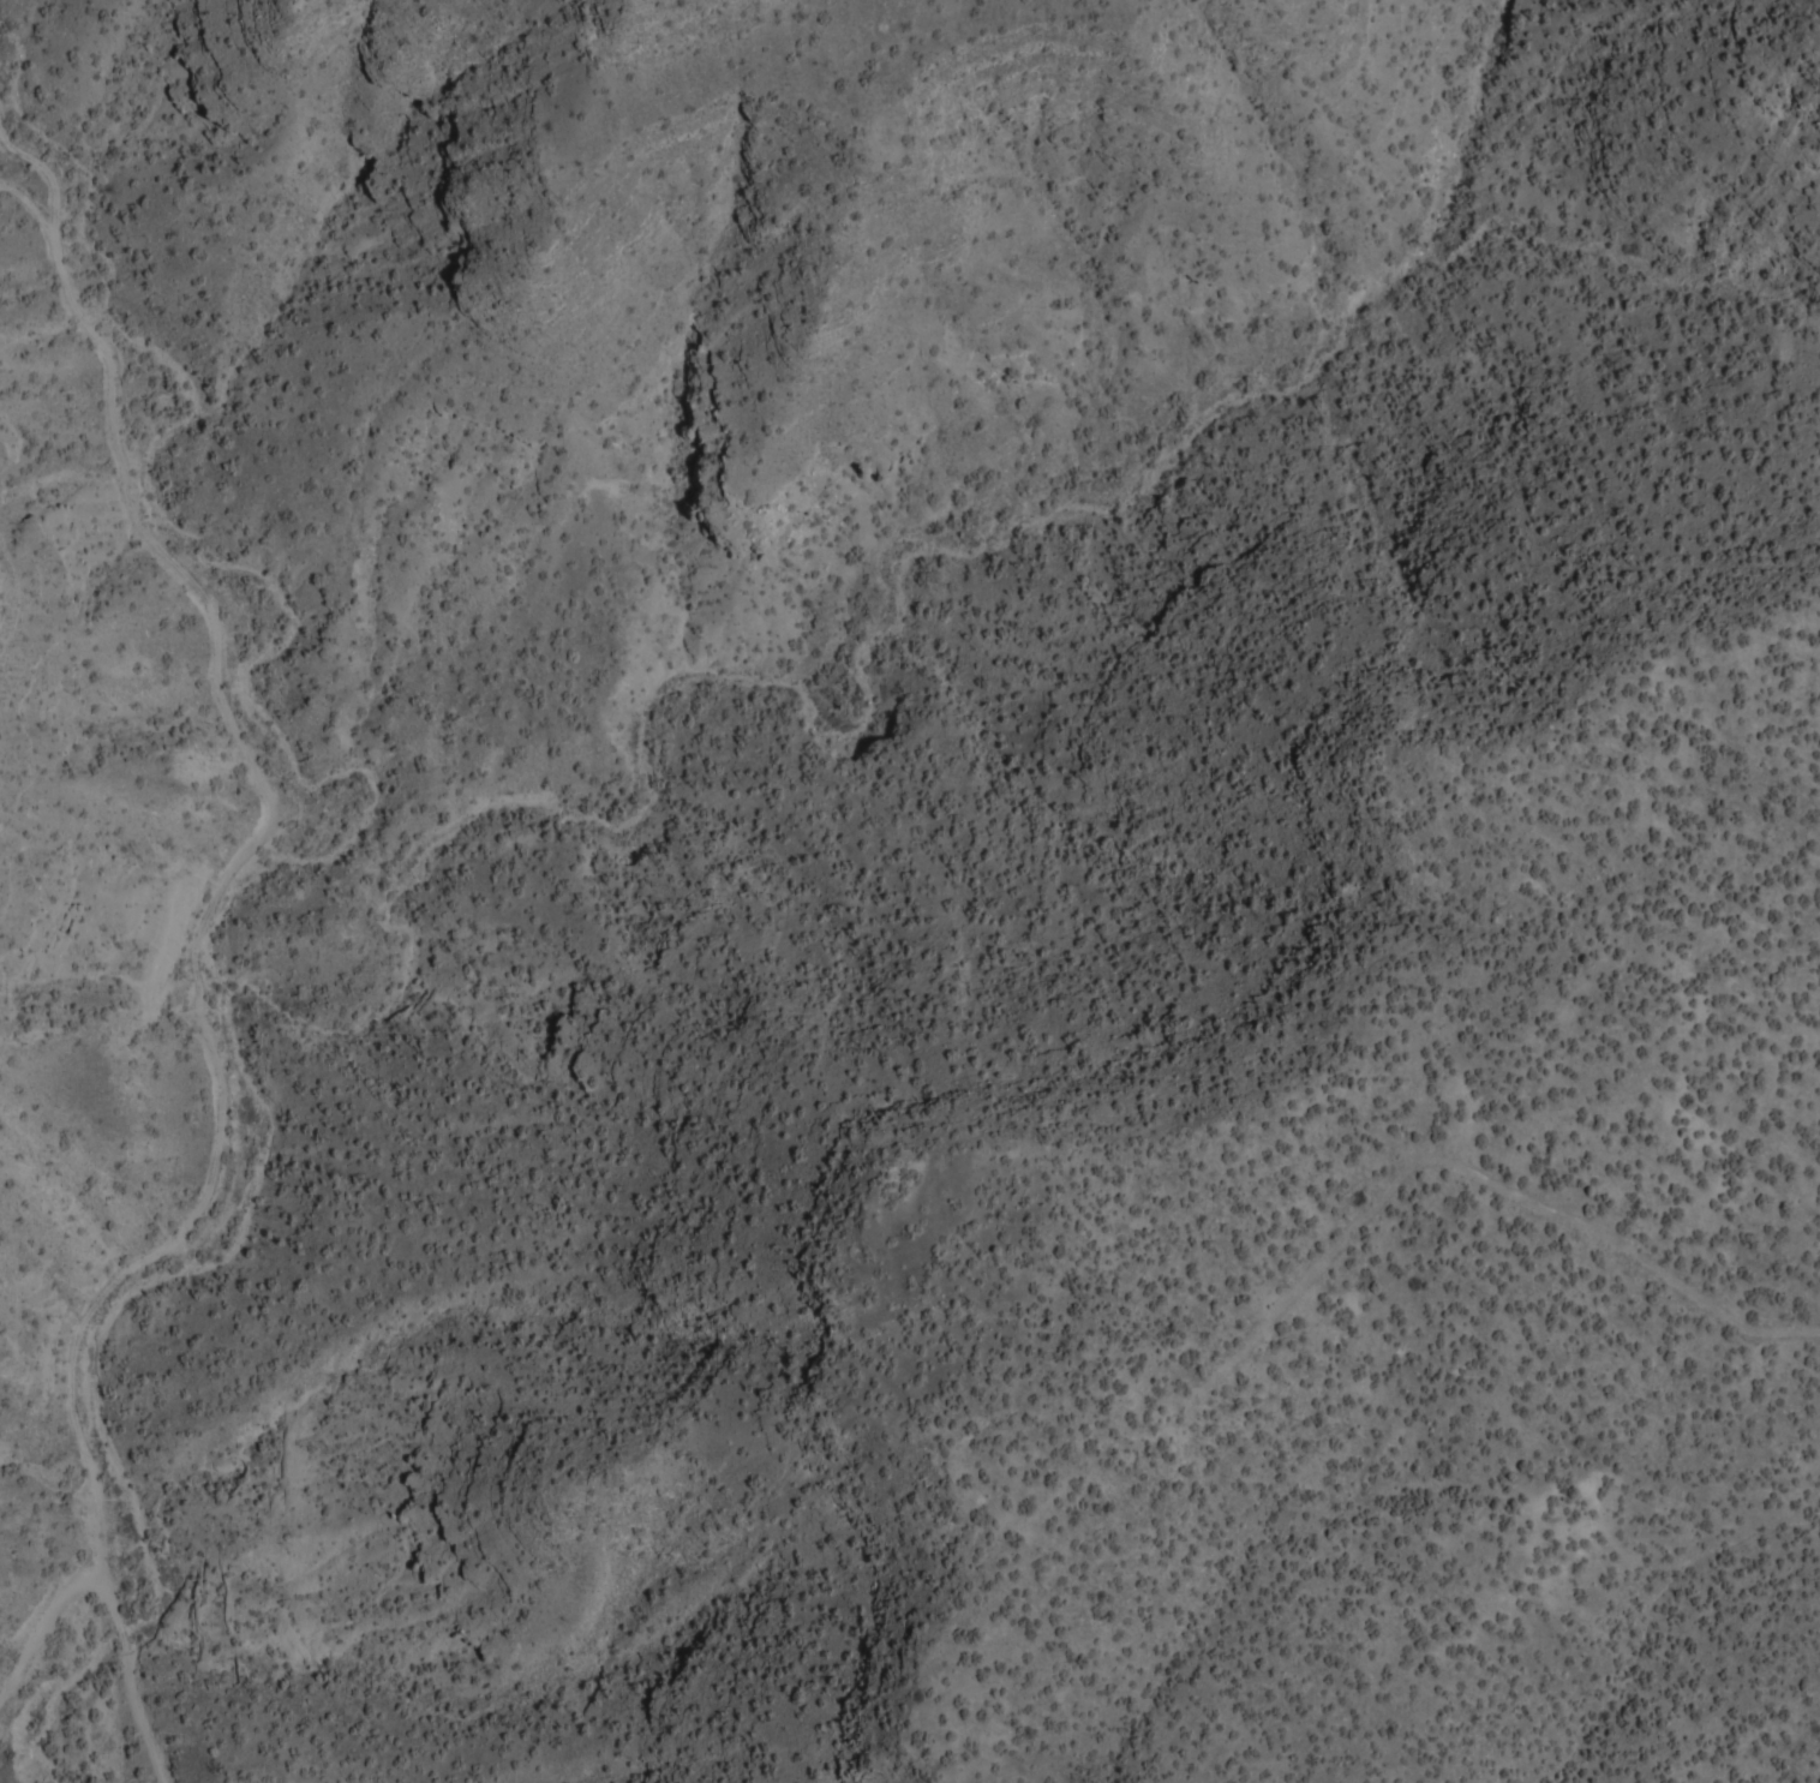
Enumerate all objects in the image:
road: (125, 1639)

